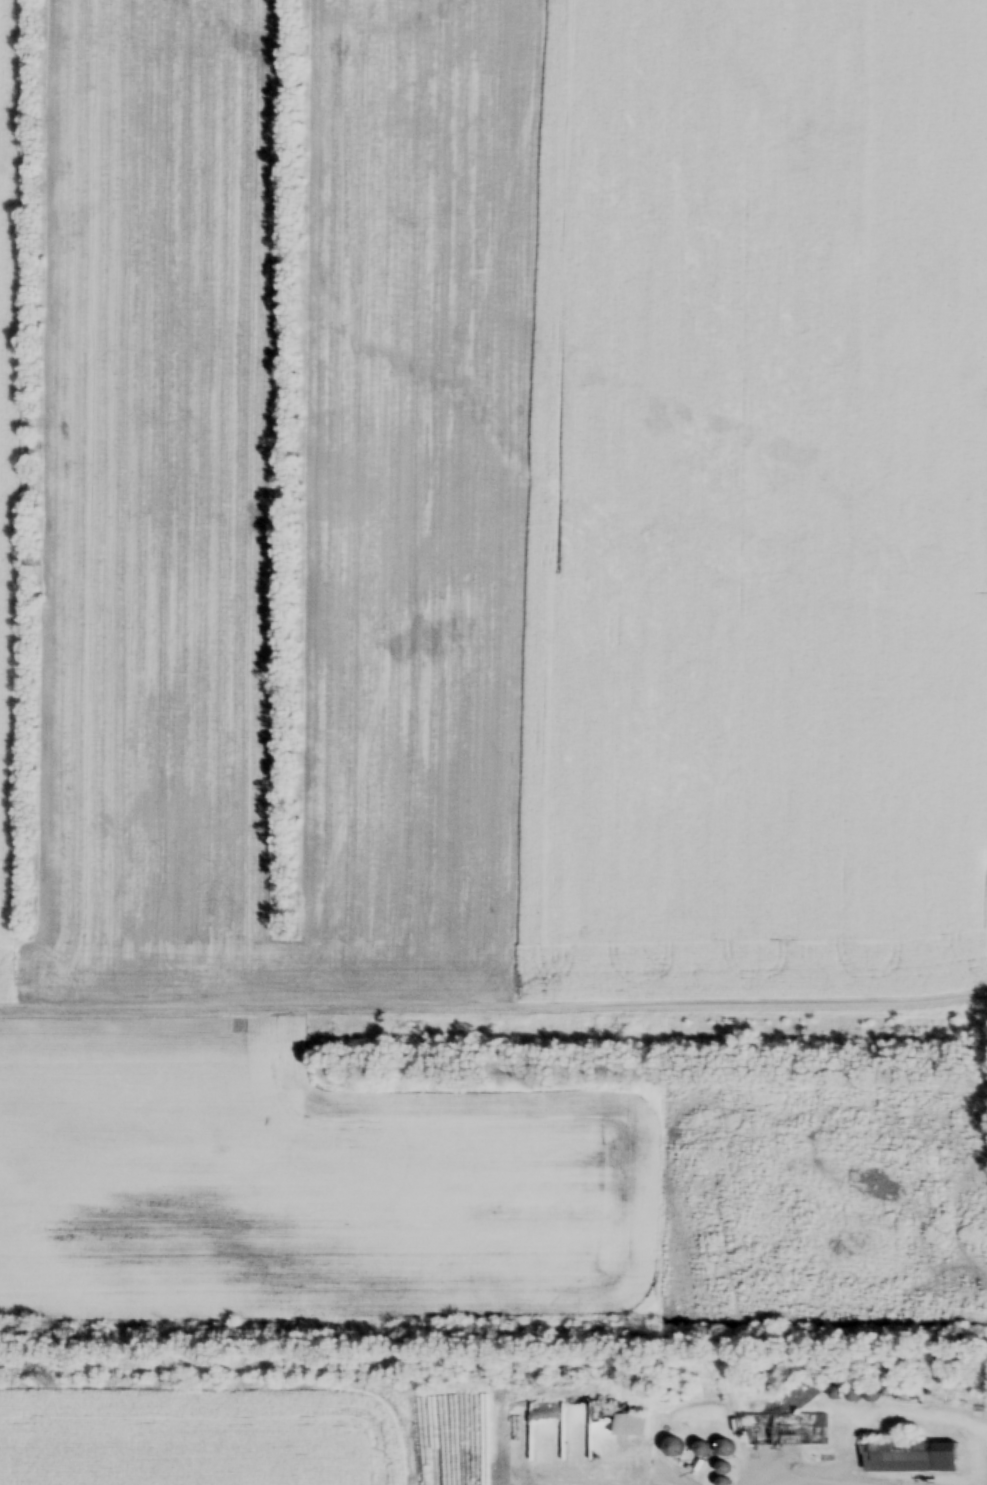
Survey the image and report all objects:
building: (636, 1427)
building: (787, 1433)
building: (909, 1460)
road: (649, 1477)
road: (817, 1481)

